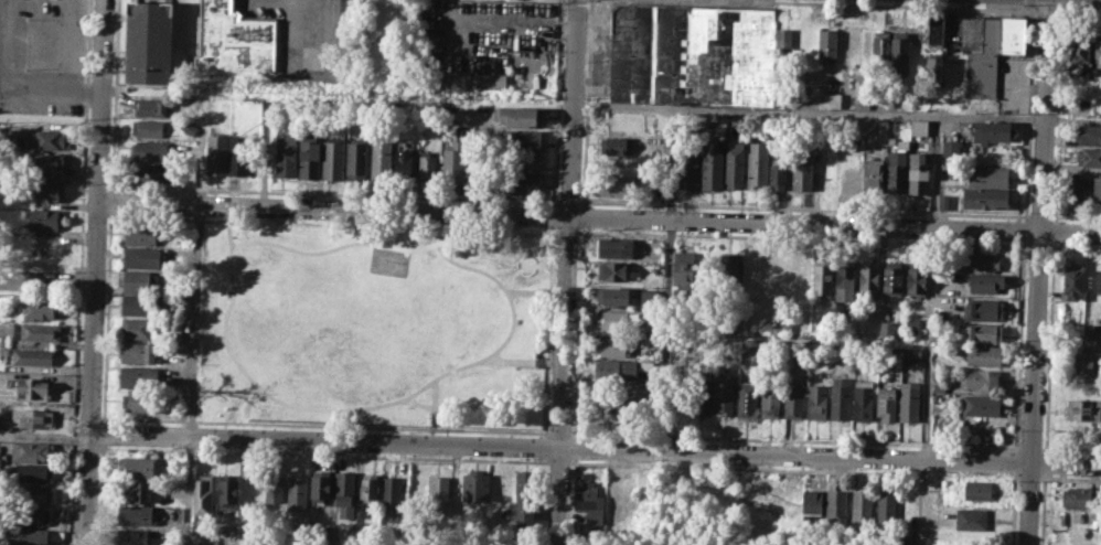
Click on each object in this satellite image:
road: (1062, 1)
road: (4, 2)
road: (879, 4)
road: (1045, 10)
road: (1078, 11)
building: (934, 30)
building: (1014, 34)
building: (234, 39)
parking lot: (491, 41)
building: (149, 42)
building: (784, 42)
building: (827, 45)
building: (880, 50)
building: (900, 50)
building: (1098, 51)
building: (691, 53)
building: (1079, 54)
parking lot: (42, 56)
building: (983, 63)
building: (933, 68)
building: (473, 79)
road: (14, 88)
building: (834, 99)
building: (863, 100)
building: (149, 108)
building: (268, 108)
road: (837, 111)
building: (521, 116)
building: (918, 126)
building: (148, 127)
building: (997, 131)
road: (1057, 132)
building: (1089, 135)
building: (521, 138)
building: (46, 139)
building: (901, 143)
building: (619, 146)
building: (950, 148)
building: (151, 149)
building: (238, 154)
building: (286, 154)
building: (1088, 157)
building: (216, 158)
building: (310, 158)
building: (405, 158)
building: (333, 159)
building: (356, 159)
building: (521, 160)
building: (382, 161)
building: (43, 162)
building: (452, 163)
building: (736, 163)
building: (427, 164)
building: (758, 164)
building: (713, 165)
building: (802, 169)
building: (687, 170)
road: (934, 170)
building: (151, 172)
building: (779, 173)
building: (896, 173)
building: (919, 174)
building: (874, 175)
building: (988, 175)
building: (521, 183)
building: (619, 185)
building: (1072, 188)
building: (1097, 189)
building: (46, 192)
building: (985, 197)
building: (943, 200)
road: (600, 216)
building: (45, 218)
building: (145, 234)
building: (614, 246)
building: (143, 256)
building: (982, 259)
building: (684, 267)
building: (752, 269)
building: (617, 270)
building: (728, 270)
road: (1038, 271)
road: (98, 272)
road: (568, 272)
building: (869, 275)
building: (823, 277)
building: (894, 277)
building: (1075, 278)
building: (846, 279)
building: (140, 280)
building: (917, 280)
building: (986, 282)
road: (49, 284)
building: (649, 292)
building: (612, 295)
building: (142, 303)
building: (984, 308)
building: (35, 309)
building: (612, 319)
road: (194, 324)
building: (136, 328)
building: (913, 328)
building: (887, 329)
building: (35, 331)
building: (1097, 331)
building: (983, 332)
building: (174, 336)
building: (616, 345)
road: (1068, 346)
building: (138, 351)
building: (983, 354)
building: (910, 355)
building: (33, 356)
building: (174, 362)
building: (1083, 363)
building: (617, 368)
building: (138, 375)
building: (981, 378)
road: (928, 385)
building: (33, 387)
building: (940, 387)
building: (724, 394)
building: (702, 396)
building: (841, 397)
building: (747, 398)
building: (770, 399)
building: (863, 399)
building: (909, 399)
building: (140, 400)
building: (793, 400)
building: (816, 400)
building: (887, 402)
building: (980, 405)
building: (1083, 408)
building: (34, 417)
road: (46, 436)
building: (32, 450)
road: (597, 450)
building: (138, 467)
building: (30, 472)
building: (321, 484)
building: (370, 487)
building: (274, 488)
building: (477, 489)
building: (977, 490)
building: (139, 491)
building: (228, 491)
building: (298, 492)
building: (345, 493)
building: (32, 494)
building: (203, 494)
building: (253, 494)
building: (440, 494)
building: (392, 495)
building: (1078, 496)
building: (525, 499)
building: (590, 502)
building: (812, 503)
building: (788, 506)
building: (863, 507)
building: (886, 507)
building: (836, 510)
building: (181, 513)
building: (138, 514)
building: (31, 515)
building: (971, 519)
building: (318, 535)
building: (29, 536)
building: (133, 536)
road: (188, 539)
building: (206, 543)
building: (516, 544)

